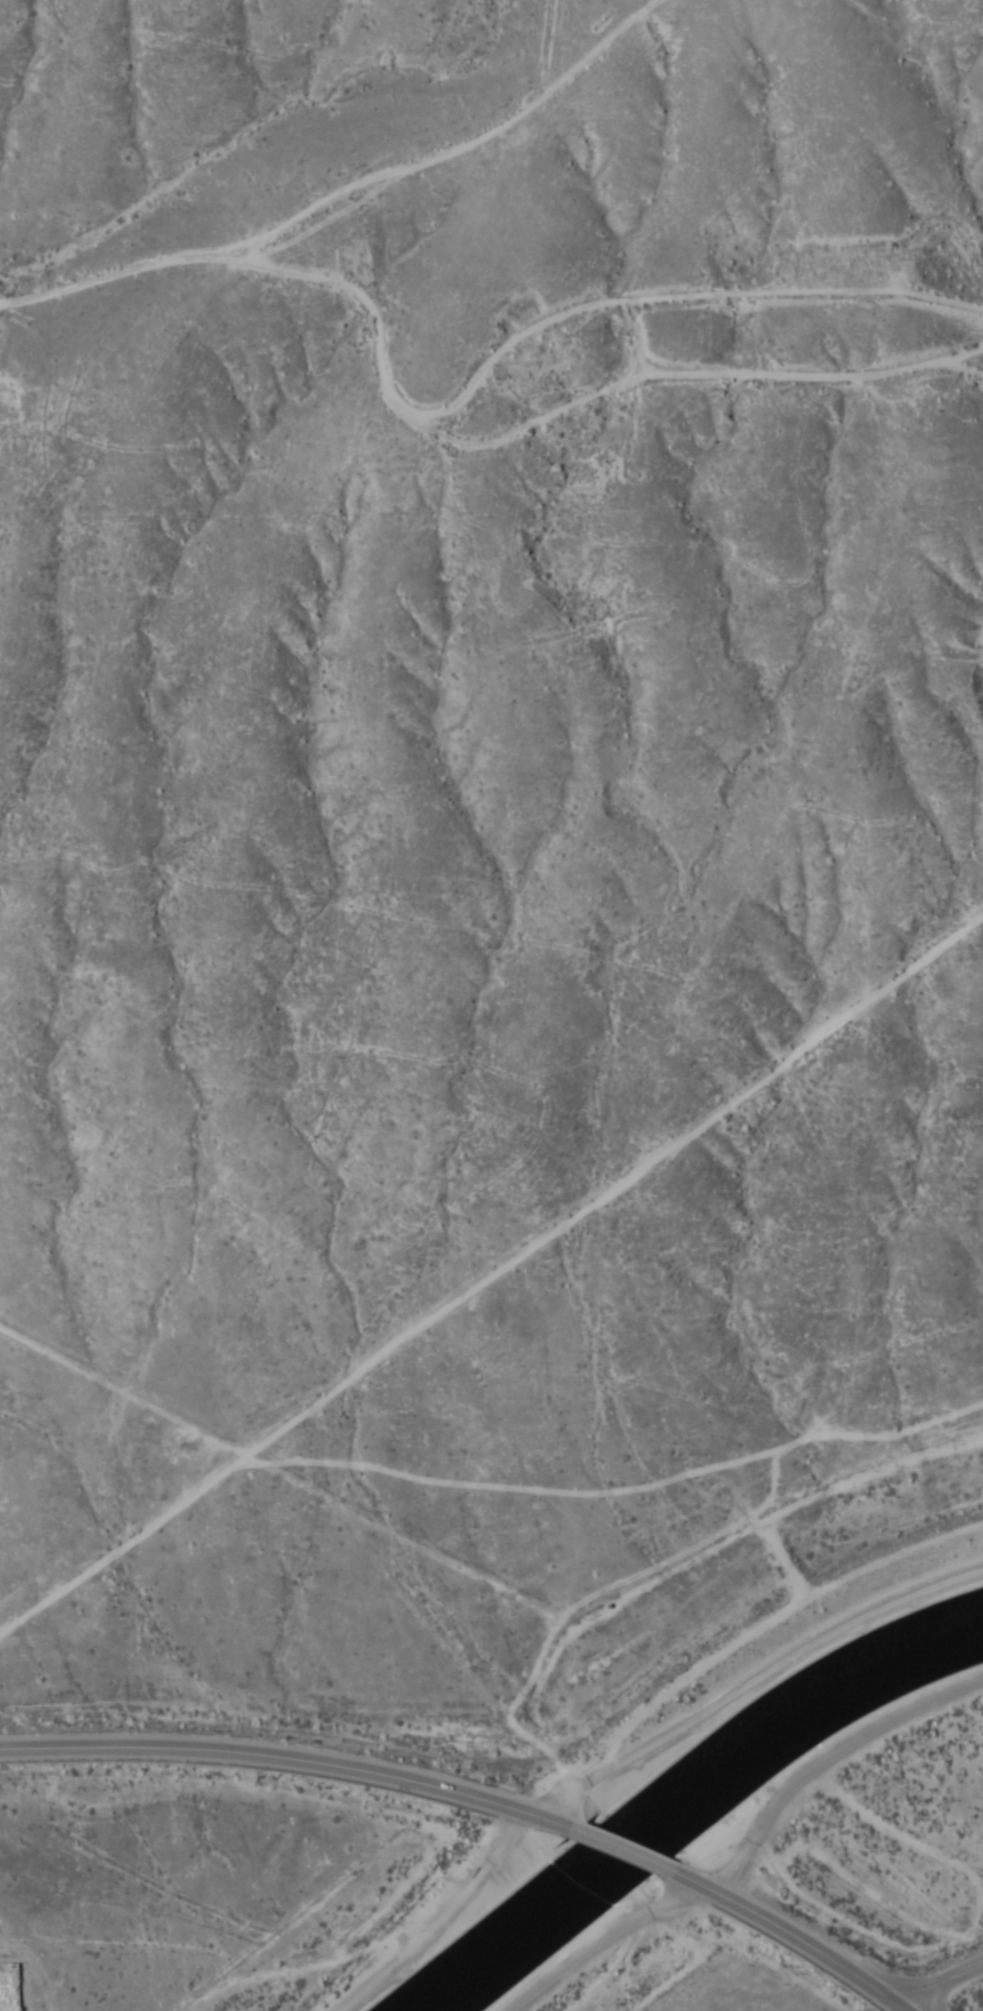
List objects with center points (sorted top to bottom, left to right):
road: (0, 298)
road: (477, 393)
road: (491, 1270)
road: (633, 1752)
road: (291, 1761)
road: (747, 1845)
road: (622, 1848)
road: (789, 1936)
road: (940, 1984)

